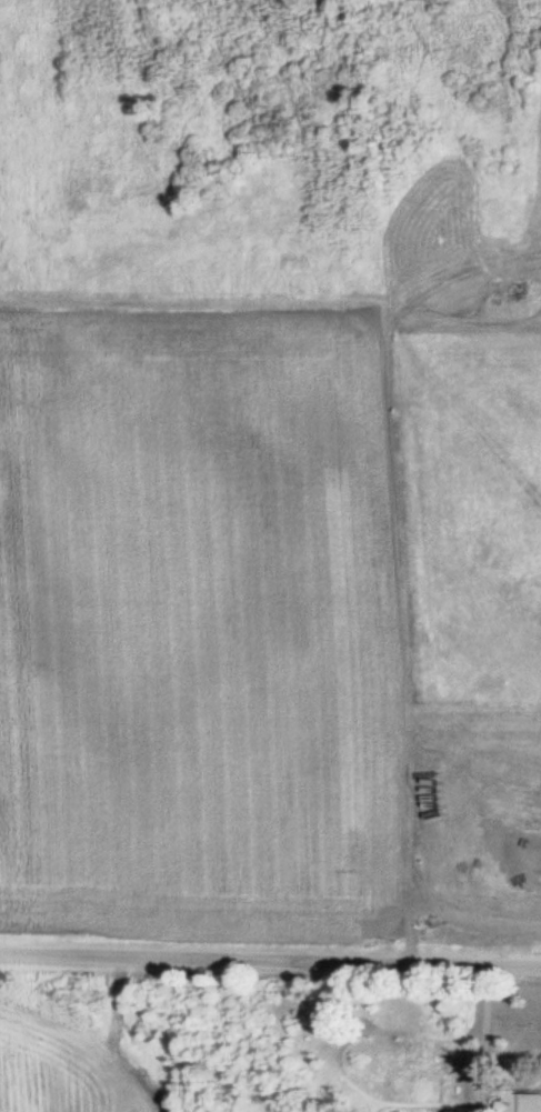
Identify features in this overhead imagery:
road: (270, 959)
building: (520, 1102)

